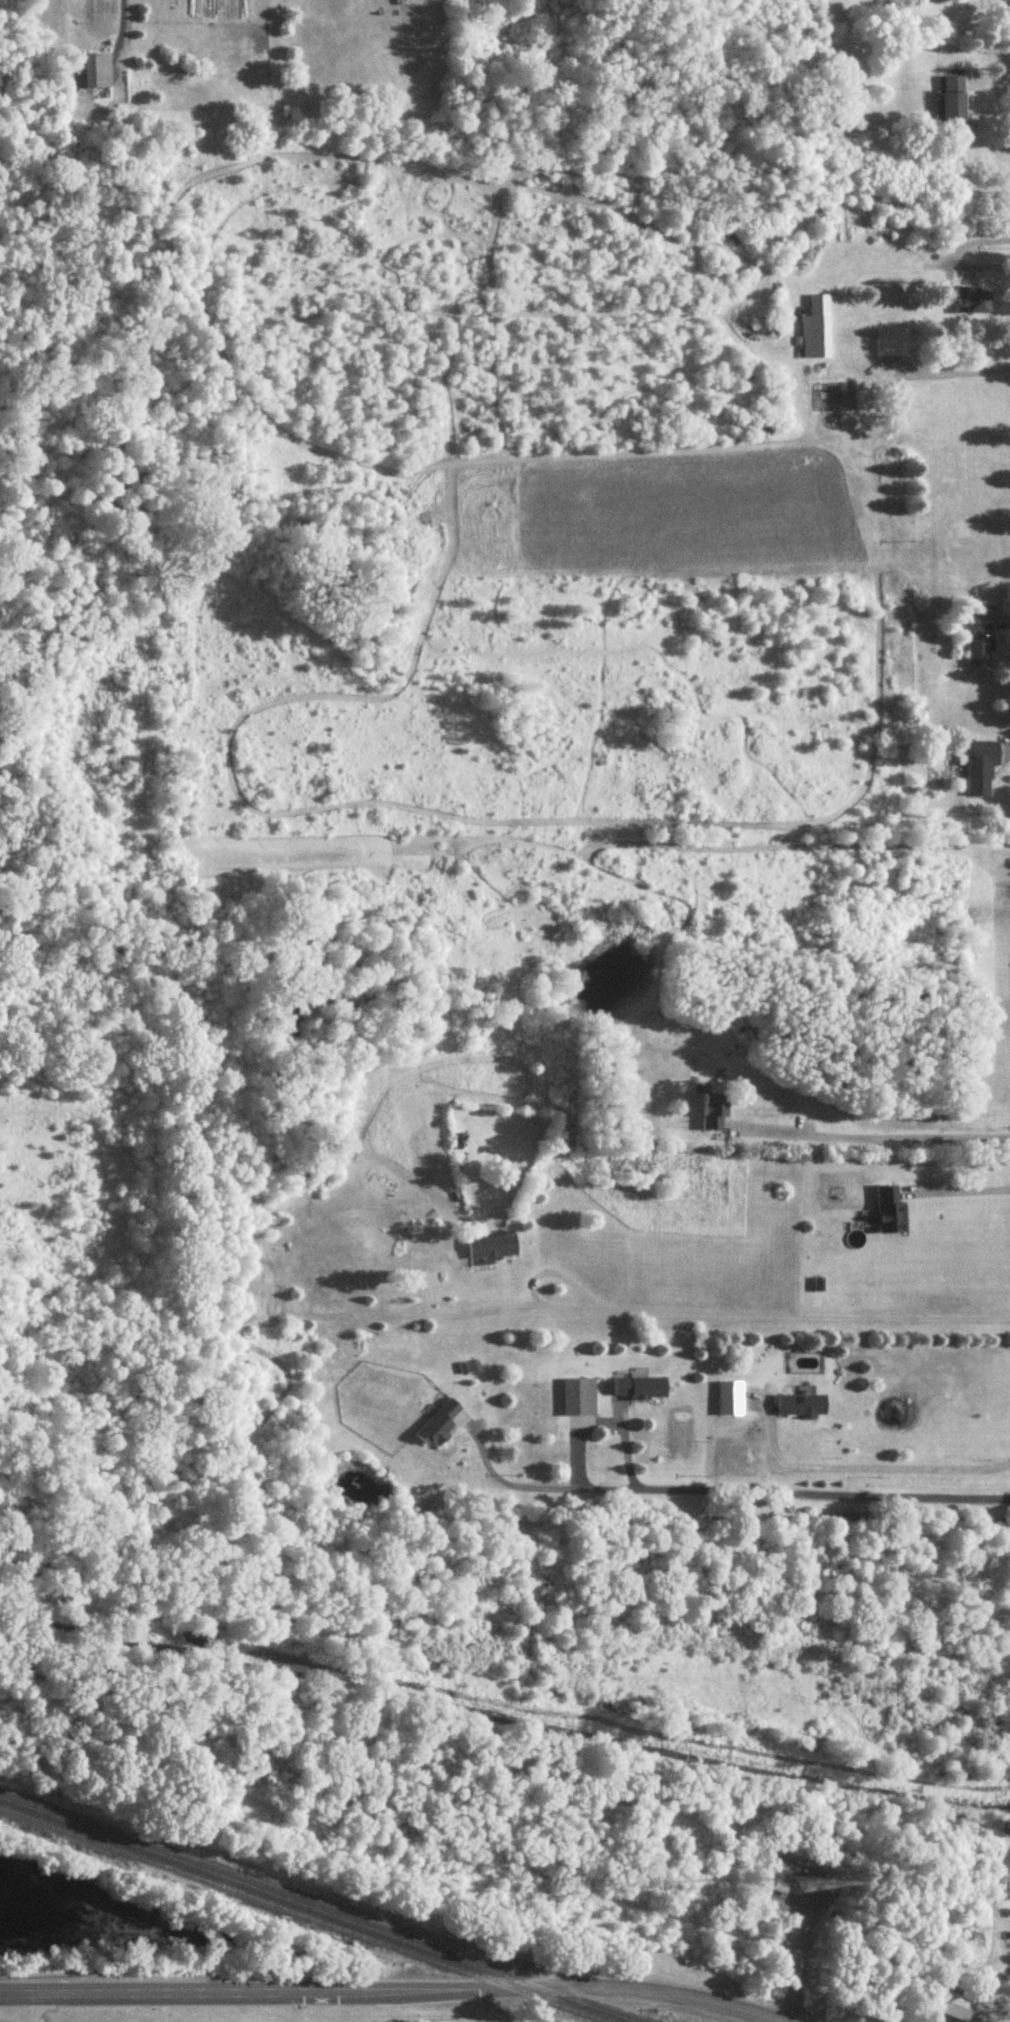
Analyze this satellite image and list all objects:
road: (119, 17)
building: (81, 73)
building: (950, 101)
building: (973, 301)
building: (816, 330)
building: (891, 344)
road: (956, 371)
building: (976, 644)
building: (981, 767)
building: (714, 1112)
road: (873, 1139)
road: (954, 1187)
building: (890, 1213)
building: (491, 1248)
road: (531, 1285)
road: (808, 1319)
building: (639, 1388)
building: (729, 1399)
building: (801, 1405)
road: (603, 1415)
building: (439, 1426)
road: (862, 1465)
road: (722, 1488)
building: (809, 1889)
building: (780, 1890)
railway: (316, 1910)
railway: (300, 1916)
road: (785, 1949)
road: (793, 1965)
road: (621, 1991)
road: (463, 1992)
road: (178, 1995)
road: (720, 2005)
road: (8, 2009)
road: (30, 2009)

